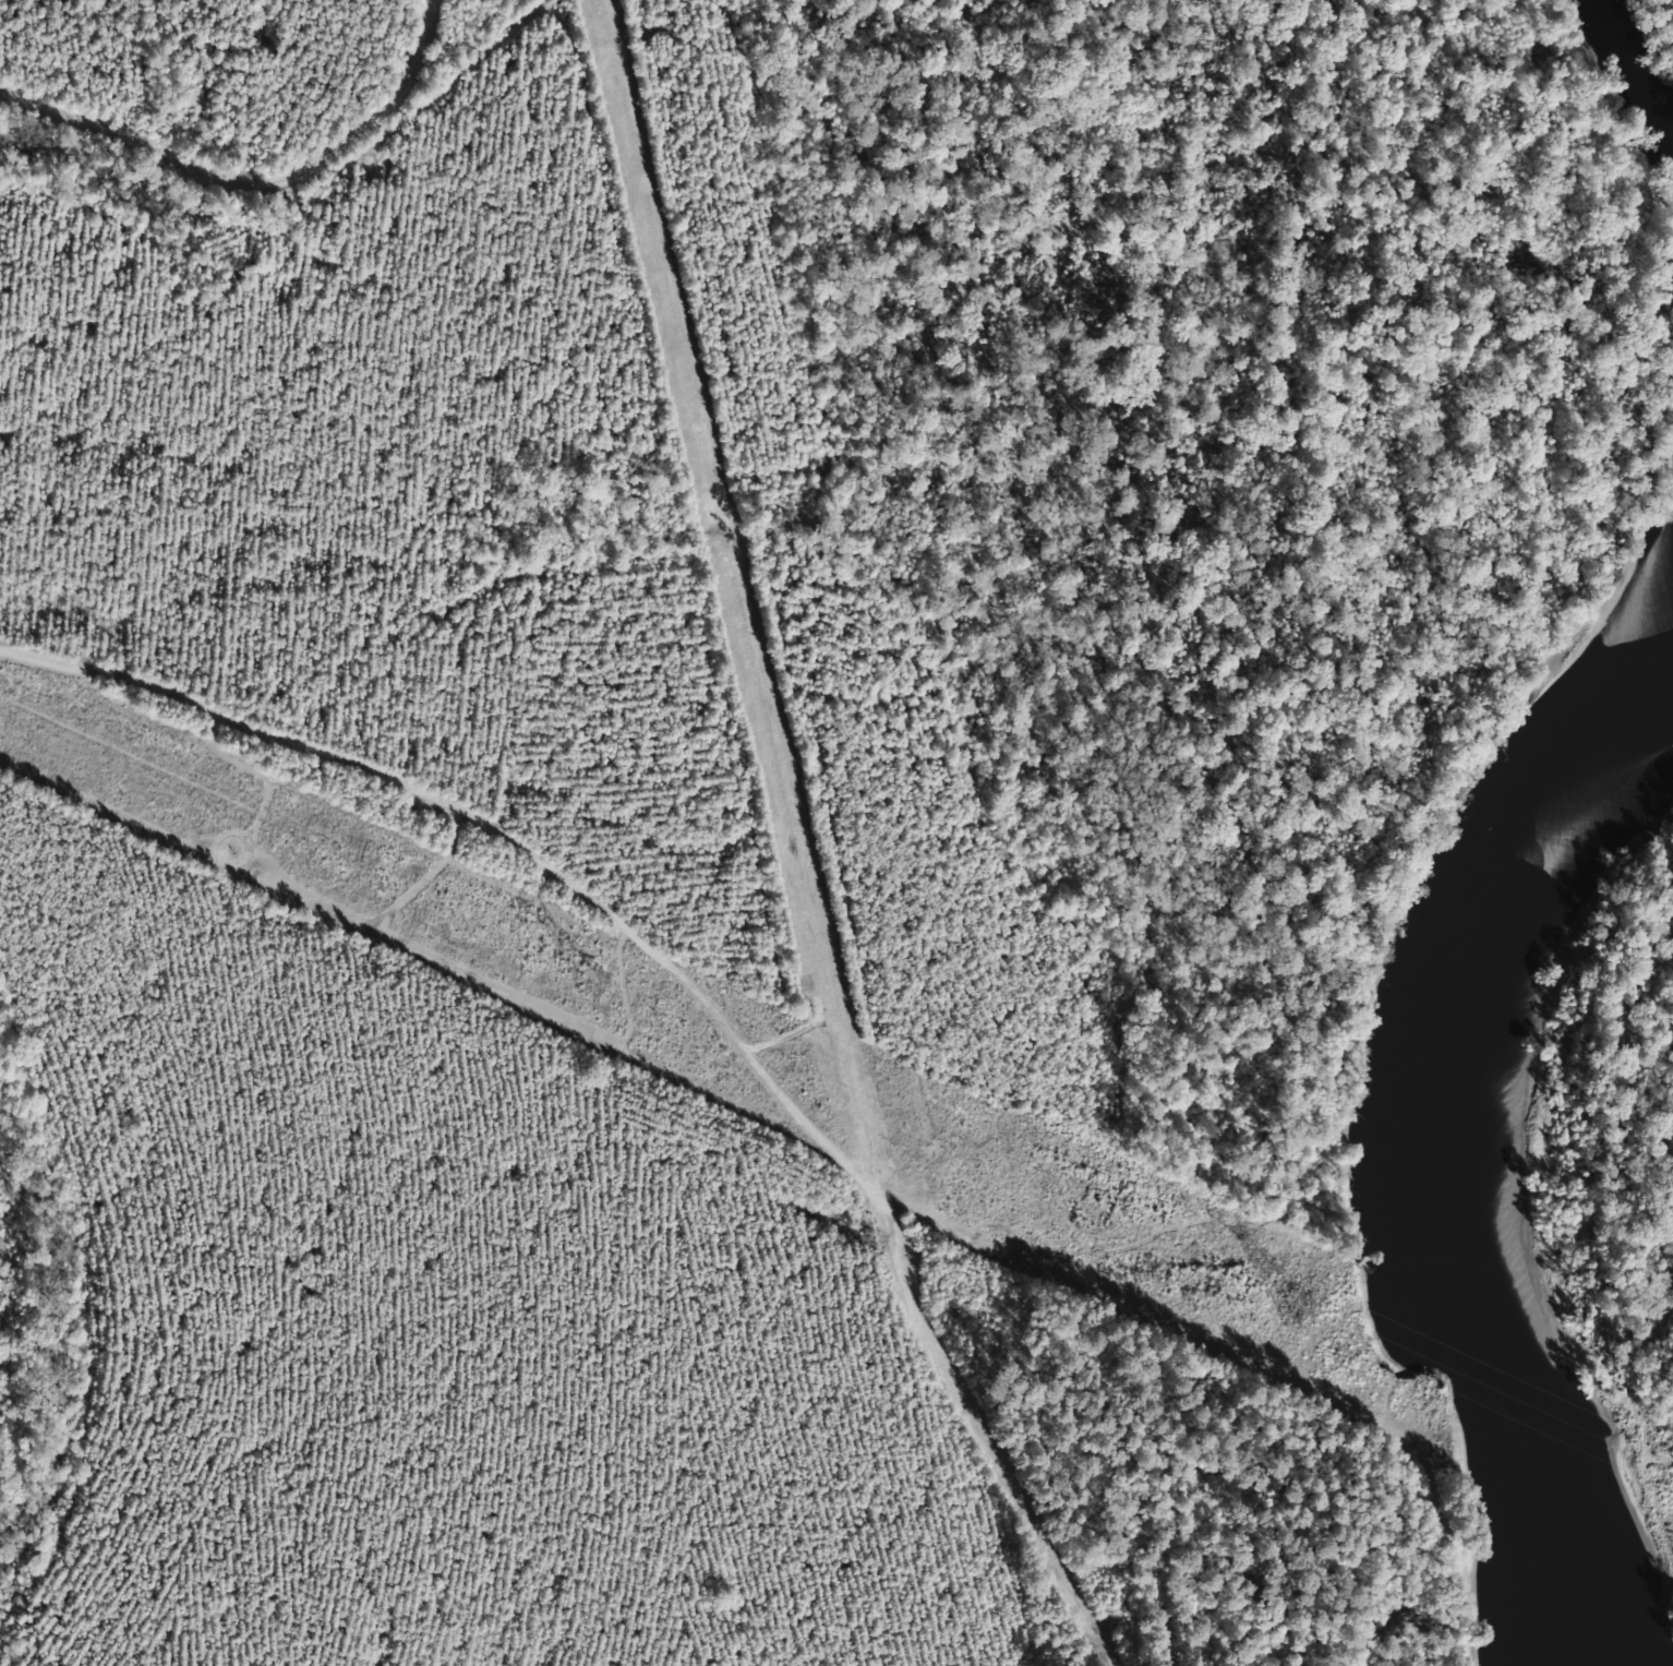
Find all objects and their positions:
road: (238, 168)
power tower: (590, 982)
road: (700, 1041)
river: (1421, 1159)
power tower: (1297, 1310)

